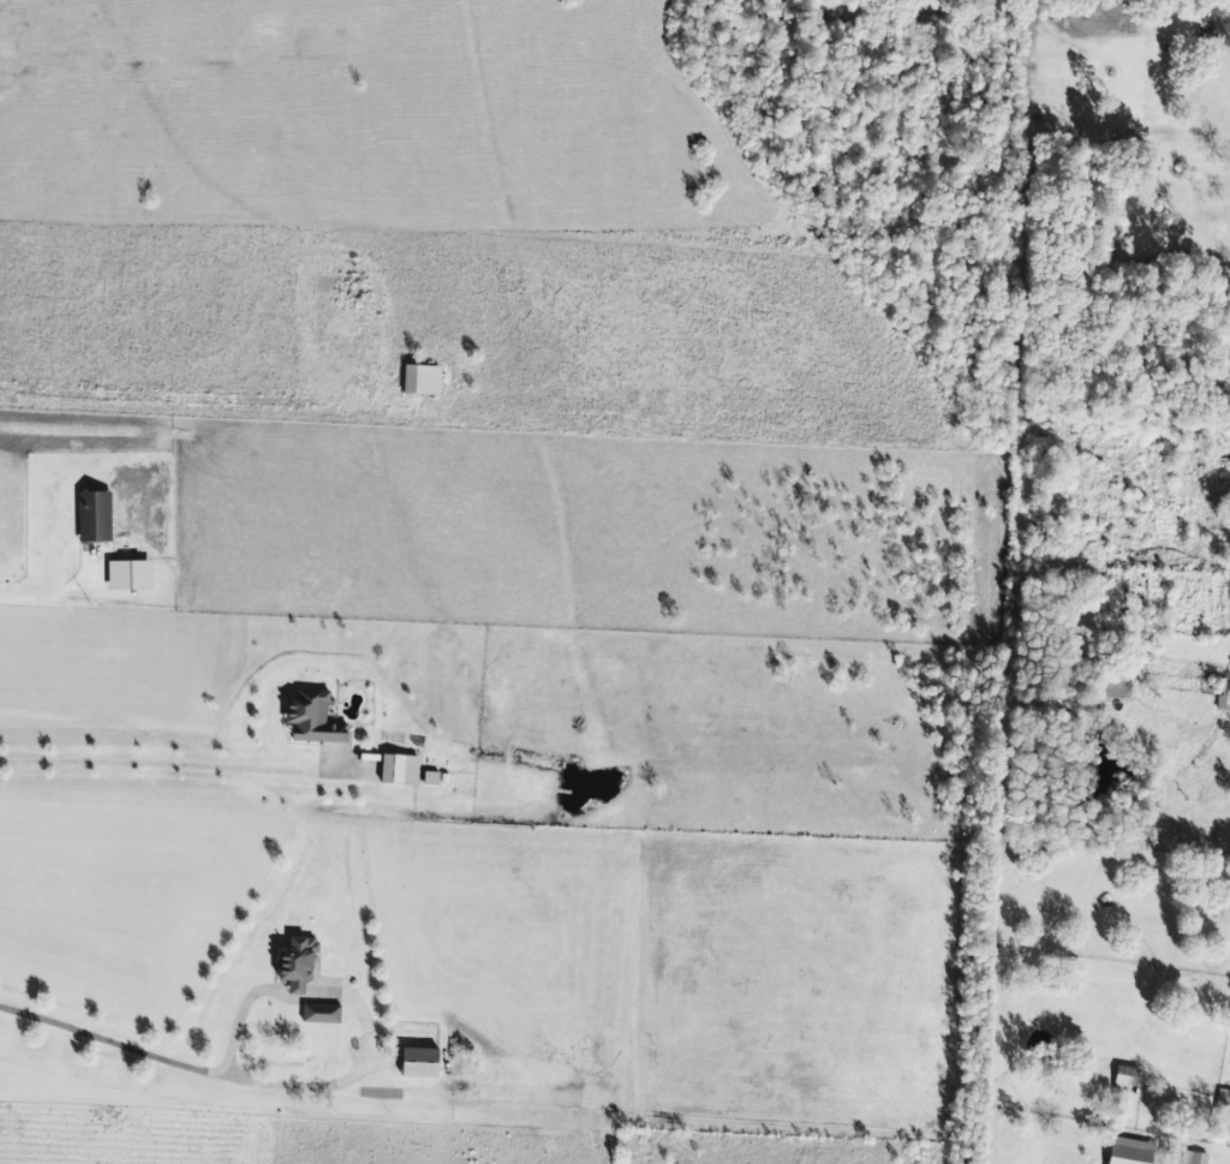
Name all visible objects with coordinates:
building: (420, 380)
building: (94, 517)
building: (130, 574)
building: (1116, 682)
building: (312, 717)
road: (167, 762)
building: (398, 769)
building: (430, 778)
building: (297, 963)
building: (321, 1013)
building: (419, 1062)
building: (1125, 1075)
building: (1223, 1098)
building: (1129, 1151)
building: (1194, 1157)

